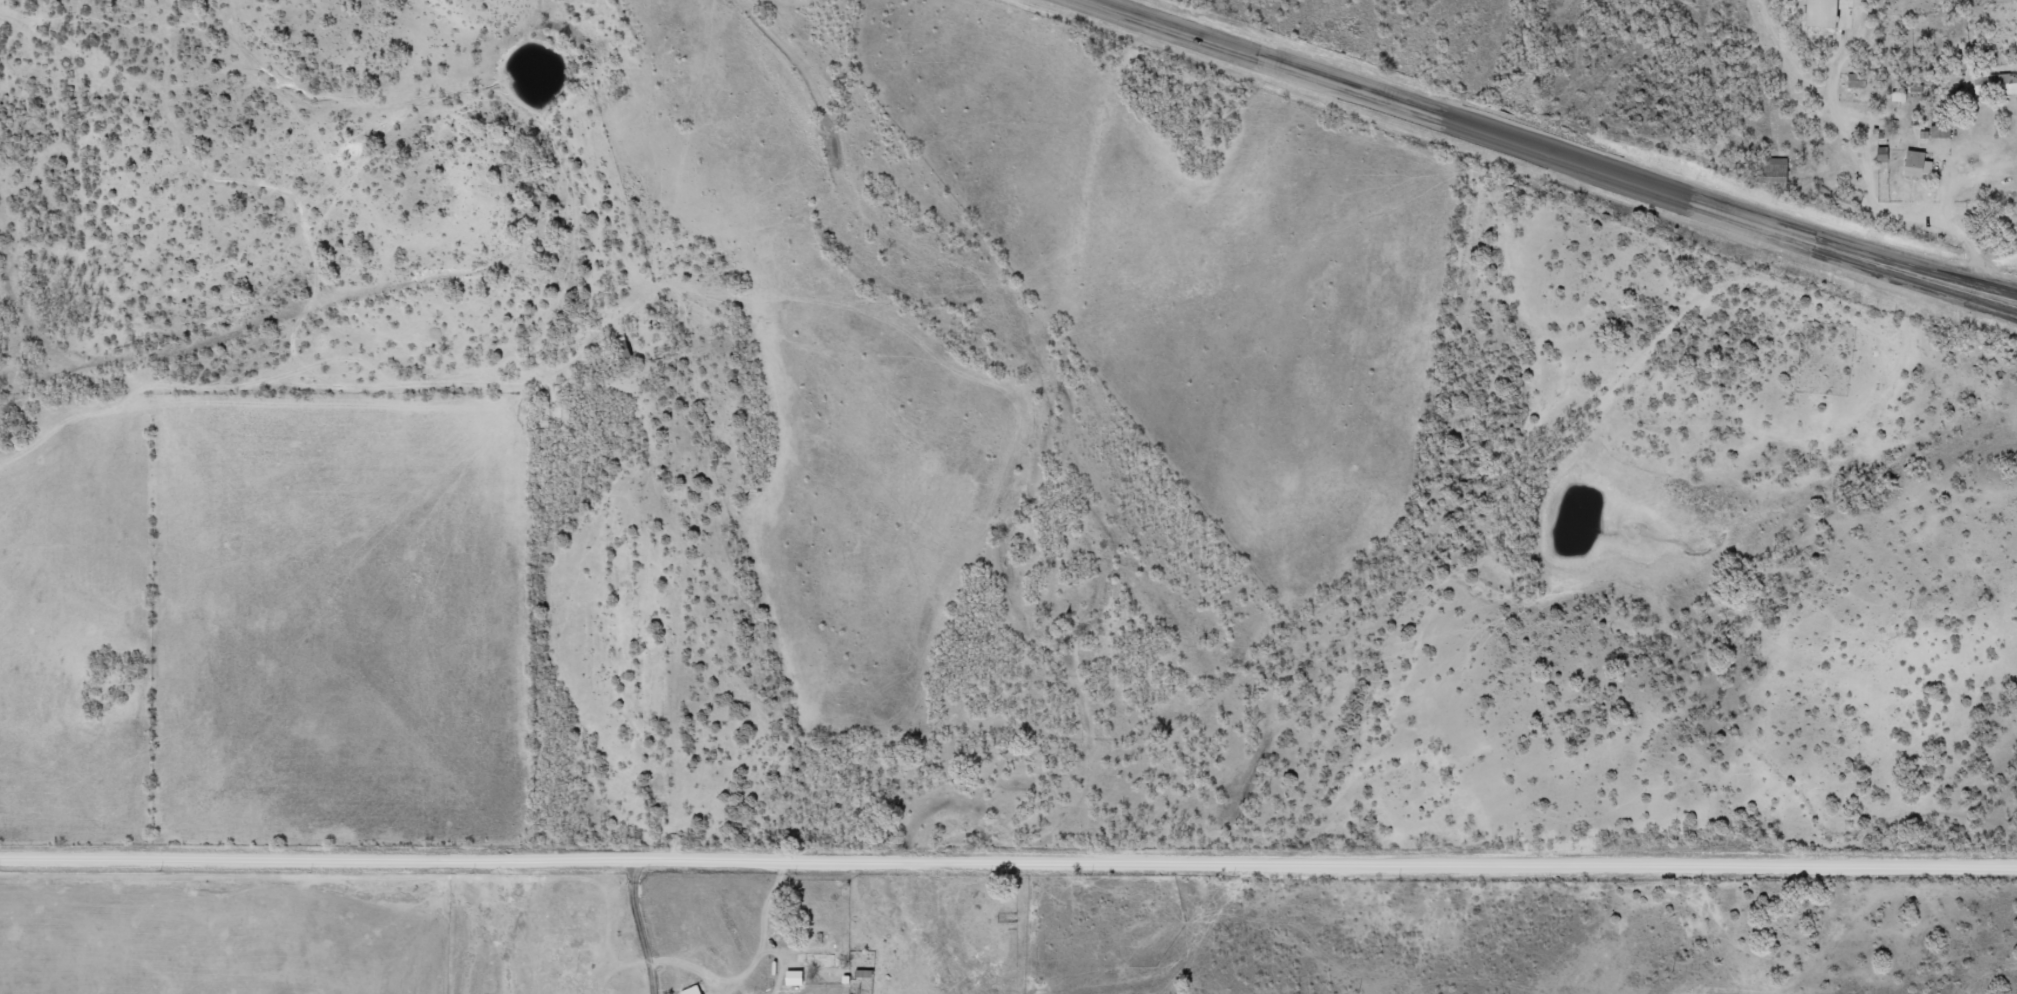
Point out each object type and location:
building: (1813, 14)
building: (1991, 84)
road: (1442, 122)
building: (1909, 165)
road: (1913, 269)
road: (1913, 279)
building: (614, 349)
road: (1008, 865)
road: (617, 929)
building: (683, 990)

